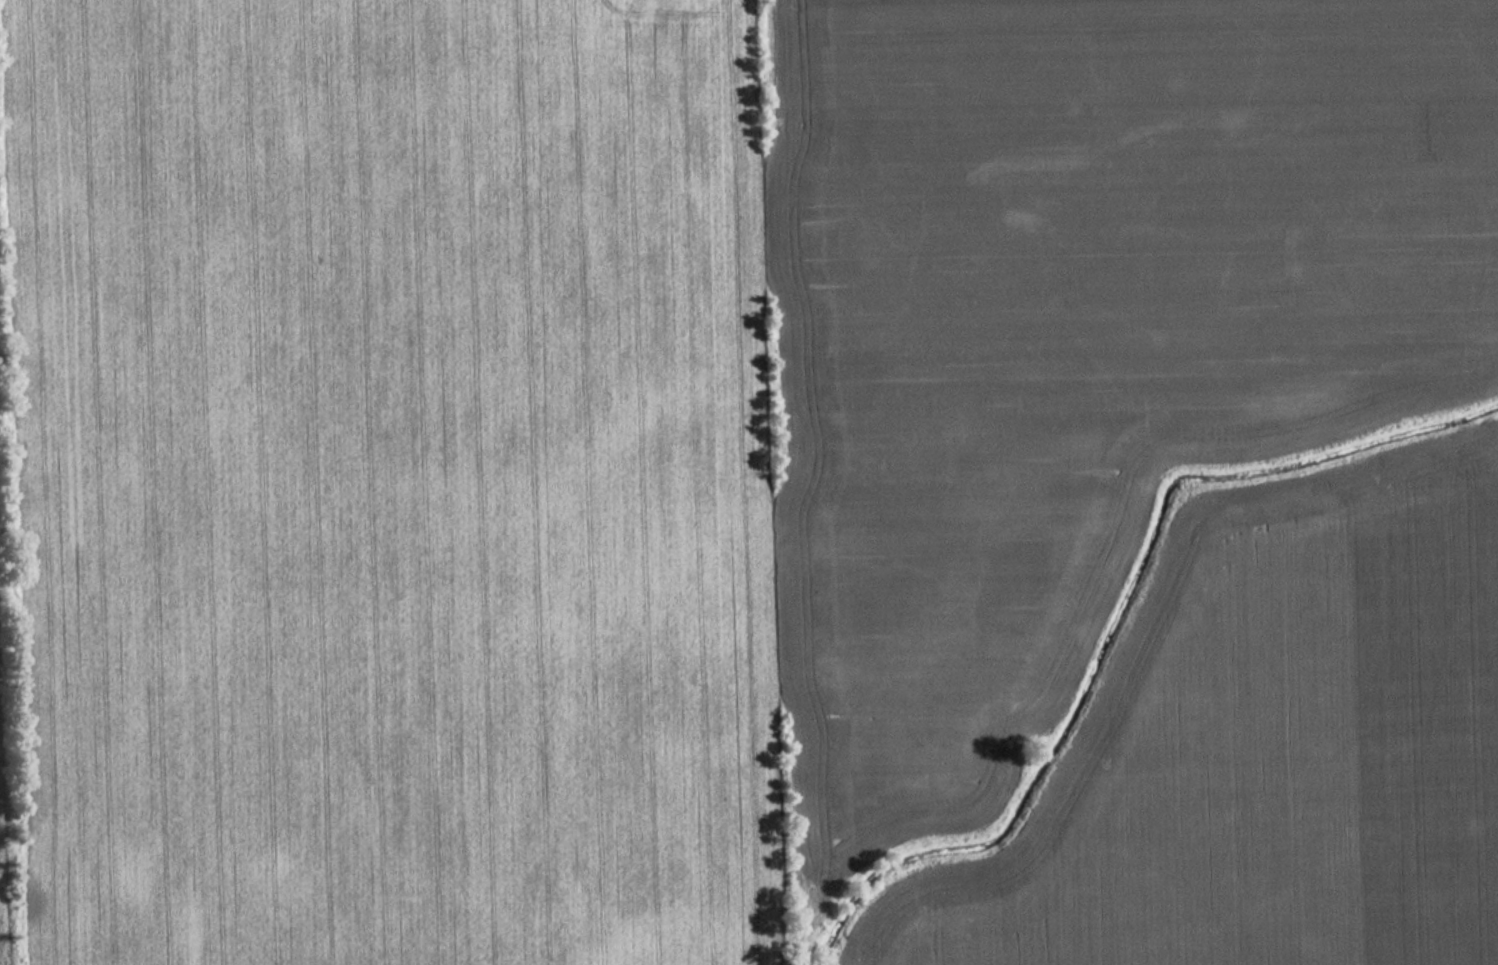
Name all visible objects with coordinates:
crop: (1078, 330)
crop: (394, 481)
crop: (1267, 753)
crop: (0, 945)

